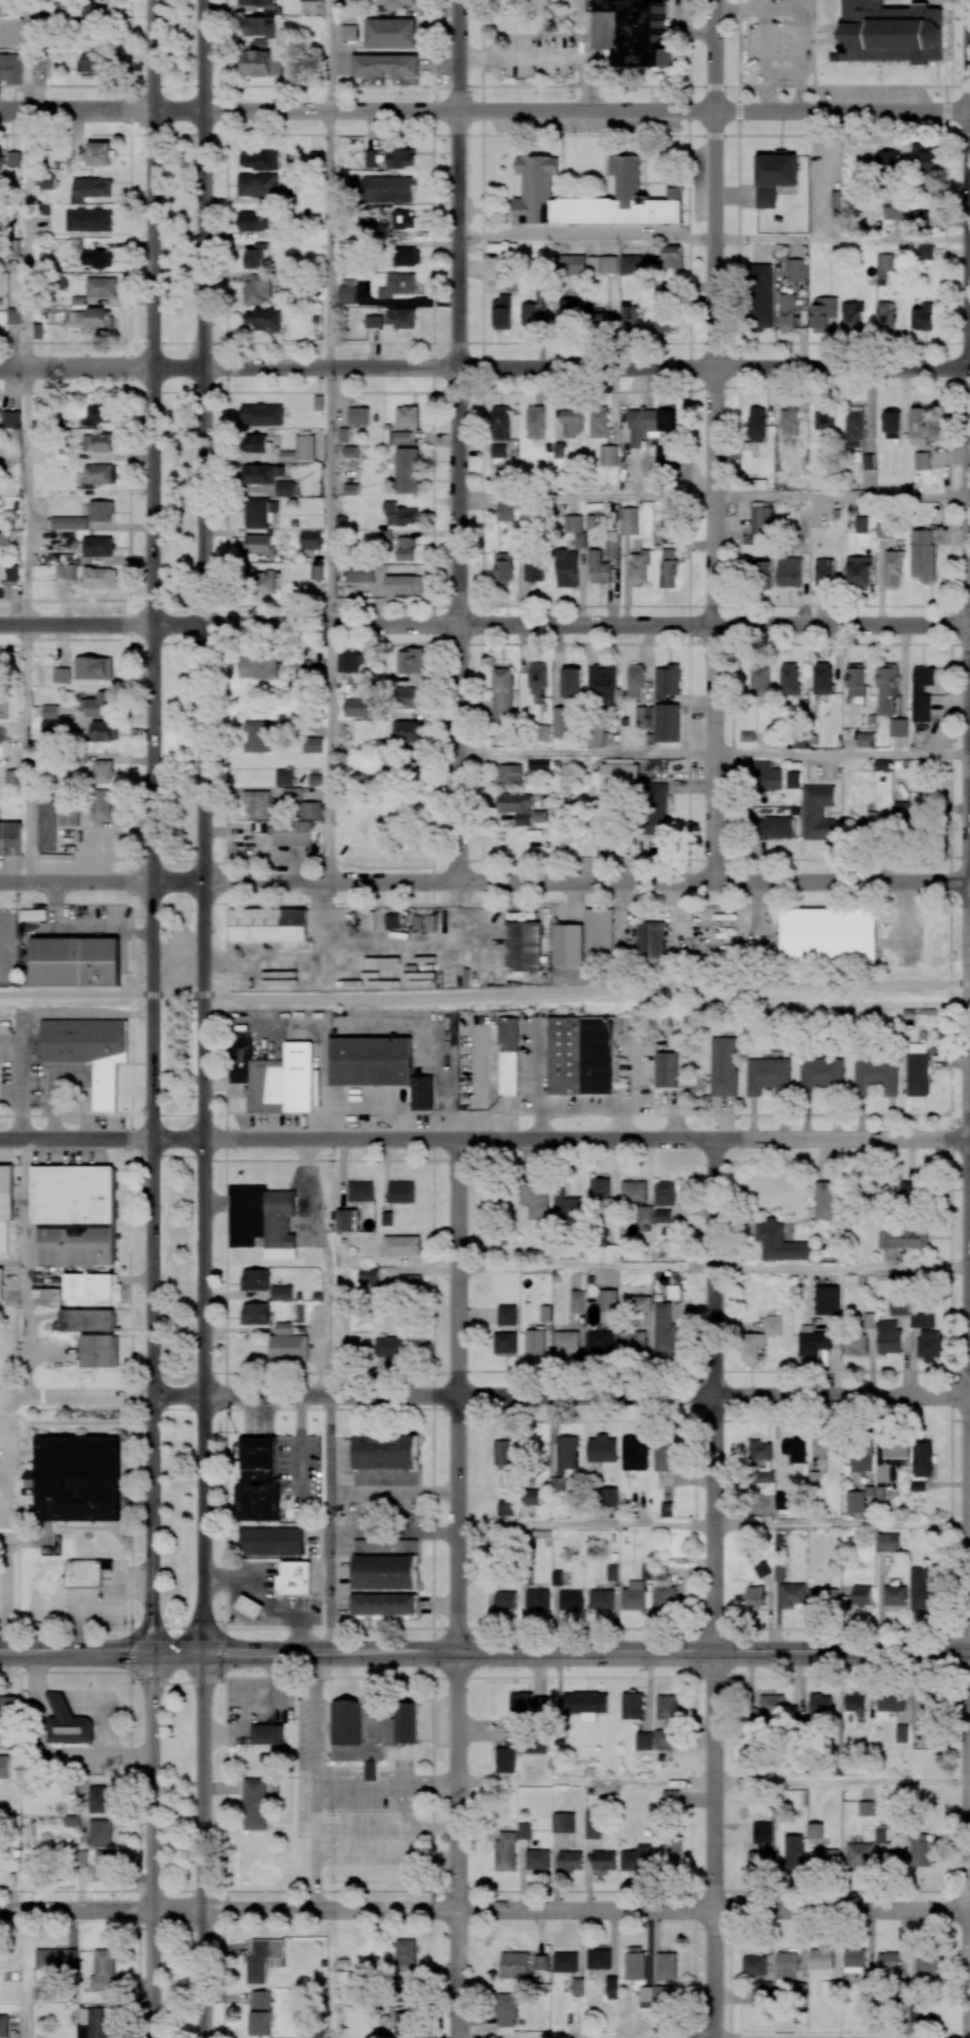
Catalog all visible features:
building: (309, 0)
building: (394, 4)
building: (261, 5)
road: (740, 8)
building: (96, 12)
road: (680, 18)
road: (800, 23)
building: (259, 26)
building: (633, 31)
building: (348, 32)
building: (390, 32)
building: (890, 32)
road: (703, 33)
road: (329, 55)
road: (765, 55)
road: (27, 56)
road: (552, 57)
building: (92, 62)
building: (261, 63)
building: (386, 65)
building: (11, 68)
road: (800, 92)
road: (76, 112)
road: (561, 112)
building: (99, 153)
building: (925, 157)
building: (15, 158)
building: (370, 158)
building: (400, 158)
building: (258, 159)
building: (888, 159)
building: (774, 176)
building: (47, 182)
building: (257, 185)
building: (1, 188)
building: (90, 188)
building: (387, 189)
building: (536, 191)
building: (896, 206)
building: (404, 218)
building: (89, 219)
building: (920, 219)
building: (254, 221)
building: (379, 232)
road: (329, 239)
road: (588, 239)
road: (26, 240)
road: (843, 240)
building: (13, 247)
building: (926, 251)
building: (254, 256)
building: (407, 256)
building: (669, 258)
building: (887, 261)
building: (609, 263)
building: (633, 263)
building: (572, 264)
building: (594, 264)
building: (508, 268)
building: (796, 268)
building: (399, 284)
building: (103, 286)
building: (257, 288)
building: (347, 294)
building: (760, 296)
building: (786, 311)
building: (502, 312)
building: (533, 312)
building: (568, 312)
building: (823, 313)
building: (851, 314)
building: (14, 315)
building: (885, 315)
building: (598, 316)
building: (401, 317)
building: (923, 317)
building: (92, 319)
building: (265, 319)
building: (629, 319)
building: (664, 319)
building: (374, 321)
building: (38, 330)
road: (76, 369)
road: (561, 369)
building: (98, 413)
building: (261, 414)
building: (359, 416)
building: (407, 416)
building: (12, 419)
building: (824, 420)
building: (789, 421)
building: (500, 422)
building: (535, 422)
building: (572, 422)
building: (599, 423)
building: (892, 423)
building: (650, 424)
building: (756, 424)
building: (918, 426)
building: (855, 428)
building: (399, 438)
road: (459, 441)
road: (716, 441)
building: (97, 442)
building: (258, 444)
building: (300, 450)
building: (351, 451)
building: (497, 451)
building: (608, 455)
building: (662, 459)
building: (921, 461)
building: (407, 470)
building: (263, 473)
building: (98, 475)
building: (284, 488)
road: (26, 497)
road: (329, 497)
road: (587, 497)
road: (843, 497)
building: (102, 511)
building: (260, 512)
building: (505, 512)
building: (400, 514)
building: (668, 518)
building: (761, 518)
building: (629, 521)
building: (69, 522)
building: (861, 524)
building: (576, 529)
building: (310, 539)
building: (258, 543)
building: (612, 544)
building: (97, 546)
building: (406, 548)
building: (922, 554)
building: (567, 568)
building: (599, 568)
building: (639, 568)
building: (668, 568)
building: (503, 569)
building: (760, 569)
building: (893, 569)
building: (534, 570)
building: (66, 571)
building: (789, 571)
building: (316, 572)
building: (824, 572)
building: (858, 572)
building: (360, 573)
building: (100, 577)
building: (262, 582)
building: (402, 585)
road: (76, 626)
road: (561, 626)
building: (410, 661)
building: (348, 662)
building: (94, 667)
building: (257, 667)
building: (302, 667)
building: (61, 675)
building: (789, 678)
building: (822, 678)
building: (855, 679)
building: (635, 680)
building: (760, 680)
building: (667, 681)
building: (537, 682)
building: (571, 682)
building: (600, 685)
building: (886, 690)
building: (921, 693)
building: (501, 694)
building: (407, 697)
building: (358, 707)
building: (49, 711)
building: (644, 716)
building: (560, 722)
building: (667, 722)
building: (49, 726)
building: (898, 727)
building: (104, 731)
building: (405, 731)
building: (595, 734)
building: (257, 735)
building: (866, 739)
building: (312, 744)
road: (587, 752)
road: (842, 753)
road: (26, 754)
road: (329, 754)
building: (539, 765)
building: (390, 766)
building: (102, 771)
building: (510, 774)
building: (619, 774)
building: (12, 775)
building: (768, 776)
building: (284, 777)
building: (793, 779)
building: (292, 793)
building: (258, 803)
building: (100, 804)
building: (516, 807)
building: (655, 809)
building: (310, 810)
building: (817, 812)
building: (69, 814)
building: (540, 816)
building: (915, 822)
building: (47, 825)
road: (152, 826)
road: (203, 826)
building: (869, 826)
building: (773, 828)
building: (291, 833)
building: (10, 838)
road: (101, 883)
road: (586, 883)
building: (391, 921)
building: (424, 923)
building: (268, 925)
building: (598, 934)
building: (828, 935)
building: (650, 942)
building: (568, 944)
building: (523, 946)
building: (75, 961)
road: (969, 985)
road: (484, 990)
road: (62, 1014)
road: (131, 1019)
park: (178, 1019)
road: (226, 1019)
building: (88, 1051)
building: (582, 1055)
building: (508, 1056)
building: (378, 1066)
building: (722, 1066)
building: (666, 1069)
building: (916, 1070)
building: (820, 1074)
building: (767, 1076)
building: (875, 1076)
building: (282, 1081)
road: (22, 1086)
road: (86, 1094)
road: (969, 1102)
road: (53, 1107)
road: (581, 1107)
road: (507, 1108)
road: (469, 1120)
road: (101, 1140)
road: (586, 1140)
building: (599, 1188)
building: (360, 1191)
building: (633, 1191)
building: (907, 1191)
building: (401, 1192)
building: (664, 1193)
building: (536, 1199)
building: (825, 1199)
building: (6, 1204)
building: (566, 1208)
building: (73, 1214)
building: (645, 1214)
building: (662, 1216)
building: (346, 1220)
building: (279, 1225)
building: (903, 1238)
building: (779, 1243)
building: (401, 1245)
road: (586, 1267)
road: (25, 1268)
road: (842, 1269)
building: (368, 1274)
building: (254, 1279)
building: (410, 1281)
building: (1, 1284)
building: (91, 1287)
building: (281, 1293)
building: (46, 1296)
building: (608, 1300)
building: (827, 1300)
building: (577, 1301)
building: (641, 1304)
building: (898, 1306)
building: (255, 1313)
building: (506, 1314)
building: (86, 1319)
building: (868, 1320)
building: (921, 1320)
building: (772, 1325)
building: (664, 1330)
road: (326, 1331)
building: (888, 1337)
building: (633, 1341)
building: (813, 1341)
building: (599, 1342)
building: (505, 1343)
building: (854, 1343)
building: (287, 1344)
building: (534, 1344)
building: (565, 1344)
building: (928, 1344)
building: (392, 1347)
building: (751, 1348)
building: (97, 1350)
road: (458, 1395)
road: (715, 1396)
road: (484, 1397)
building: (828, 1448)
building: (602, 1449)
building: (759, 1449)
building: (794, 1450)
building: (385, 1451)
building: (501, 1452)
building: (634, 1453)
building: (566, 1454)
building: (922, 1457)
building: (664, 1458)
building: (860, 1459)
building: (888, 1467)
road: (7, 1470)
building: (385, 1477)
building: (77, 1478)
building: (257, 1481)
building: (764, 1482)
road: (392, 1492)
building: (531, 1496)
building: (608, 1497)
building: (785, 1500)
building: (854, 1502)
building: (506, 1507)
building: (666, 1509)
road: (327, 1524)
road: (586, 1526)
road: (842, 1526)
road: (392, 1534)
building: (271, 1541)
building: (888, 1542)
building: (385, 1564)
building: (761, 1570)
building: (779, 1571)
building: (86, 1572)
building: (612, 1572)
building: (294, 1578)
building: (556, 1578)
building: (921, 1587)
road: (968, 1589)
building: (664, 1590)
road: (5, 1594)
building: (792, 1594)
building: (862, 1594)
building: (755, 1595)
building: (895, 1595)
building: (634, 1596)
building: (823, 1597)
building: (537, 1599)
building: (601, 1599)
building: (506, 1600)
building: (571, 1600)
road: (99, 1603)
building: (383, 1604)
building: (249, 1607)
road: (549, 1628)
road: (76, 1652)
traffic signals: (152, 1652)
road: (177, 1652)
traffic signals: (203, 1652)
road: (586, 1652)
road: (177, 1683)
building: (528, 1703)
building: (855, 1703)
building: (889, 1703)
road: (44, 1704)
road: (61, 1704)
building: (632, 1705)
building: (9, 1706)
building: (666, 1706)
building: (820, 1706)
building: (769, 1708)
building: (919, 1711)
road: (109, 1712)
building: (66, 1722)
building: (371, 1731)
building: (901, 1733)
building: (267, 1734)
building: (664, 1739)
building: (643, 1741)
building: (507, 1753)
road: (42, 1756)
building: (4, 1766)
road: (585, 1782)
road: (840, 1782)
road: (969, 1782)
road: (410, 1784)
road: (361, 1789)
building: (100, 1799)
building: (670, 1799)
building: (254, 1804)
building: (866, 1808)
building: (563, 1822)
building: (592, 1824)
road: (317, 1825)
road: (387, 1829)
building: (524, 1831)
building: (815, 1831)
building: (762, 1832)
building: (100, 1833)
building: (881, 1835)
road: (152, 1845)
road: (203, 1845)
road: (418, 1845)
road: (458, 1845)
road: (712, 1845)
road: (968, 1845)
building: (672, 1848)
building: (921, 1850)
building: (794, 1851)
building: (505, 1852)
building: (859, 1855)
building: (894, 1856)
building: (827, 1858)
building: (537, 1859)
building: (636, 1859)
building: (603, 1860)
building: (570, 1861)
building: (758, 1861)
building: (105, 1862)
road: (318, 1885)
road: (560, 1910)
road: (76, 1911)
building: (405, 1951)
building: (821, 1957)
building: (55, 1958)
building: (598, 1958)
building: (263, 1959)
building: (565, 1961)
building: (854, 1961)
building: (888, 1961)
building: (541, 1962)
building: (635, 1963)
building: (514, 1965)
building: (754, 1965)
building: (927, 1965)
building: (666, 1966)
building: (786, 1969)
building: (103, 1970)
road: (26, 1974)
building: (577, 1986)
building: (612, 1987)
building: (829, 1988)
building: (43, 1990)
building: (761, 1993)
building: (663, 1994)
building: (645, 1997)
building: (506, 2009)
building: (260, 2013)
building: (917, 2014)
building: (398, 2020)
building: (93, 2022)
building: (3, 2025)
road: (969, 2037)

